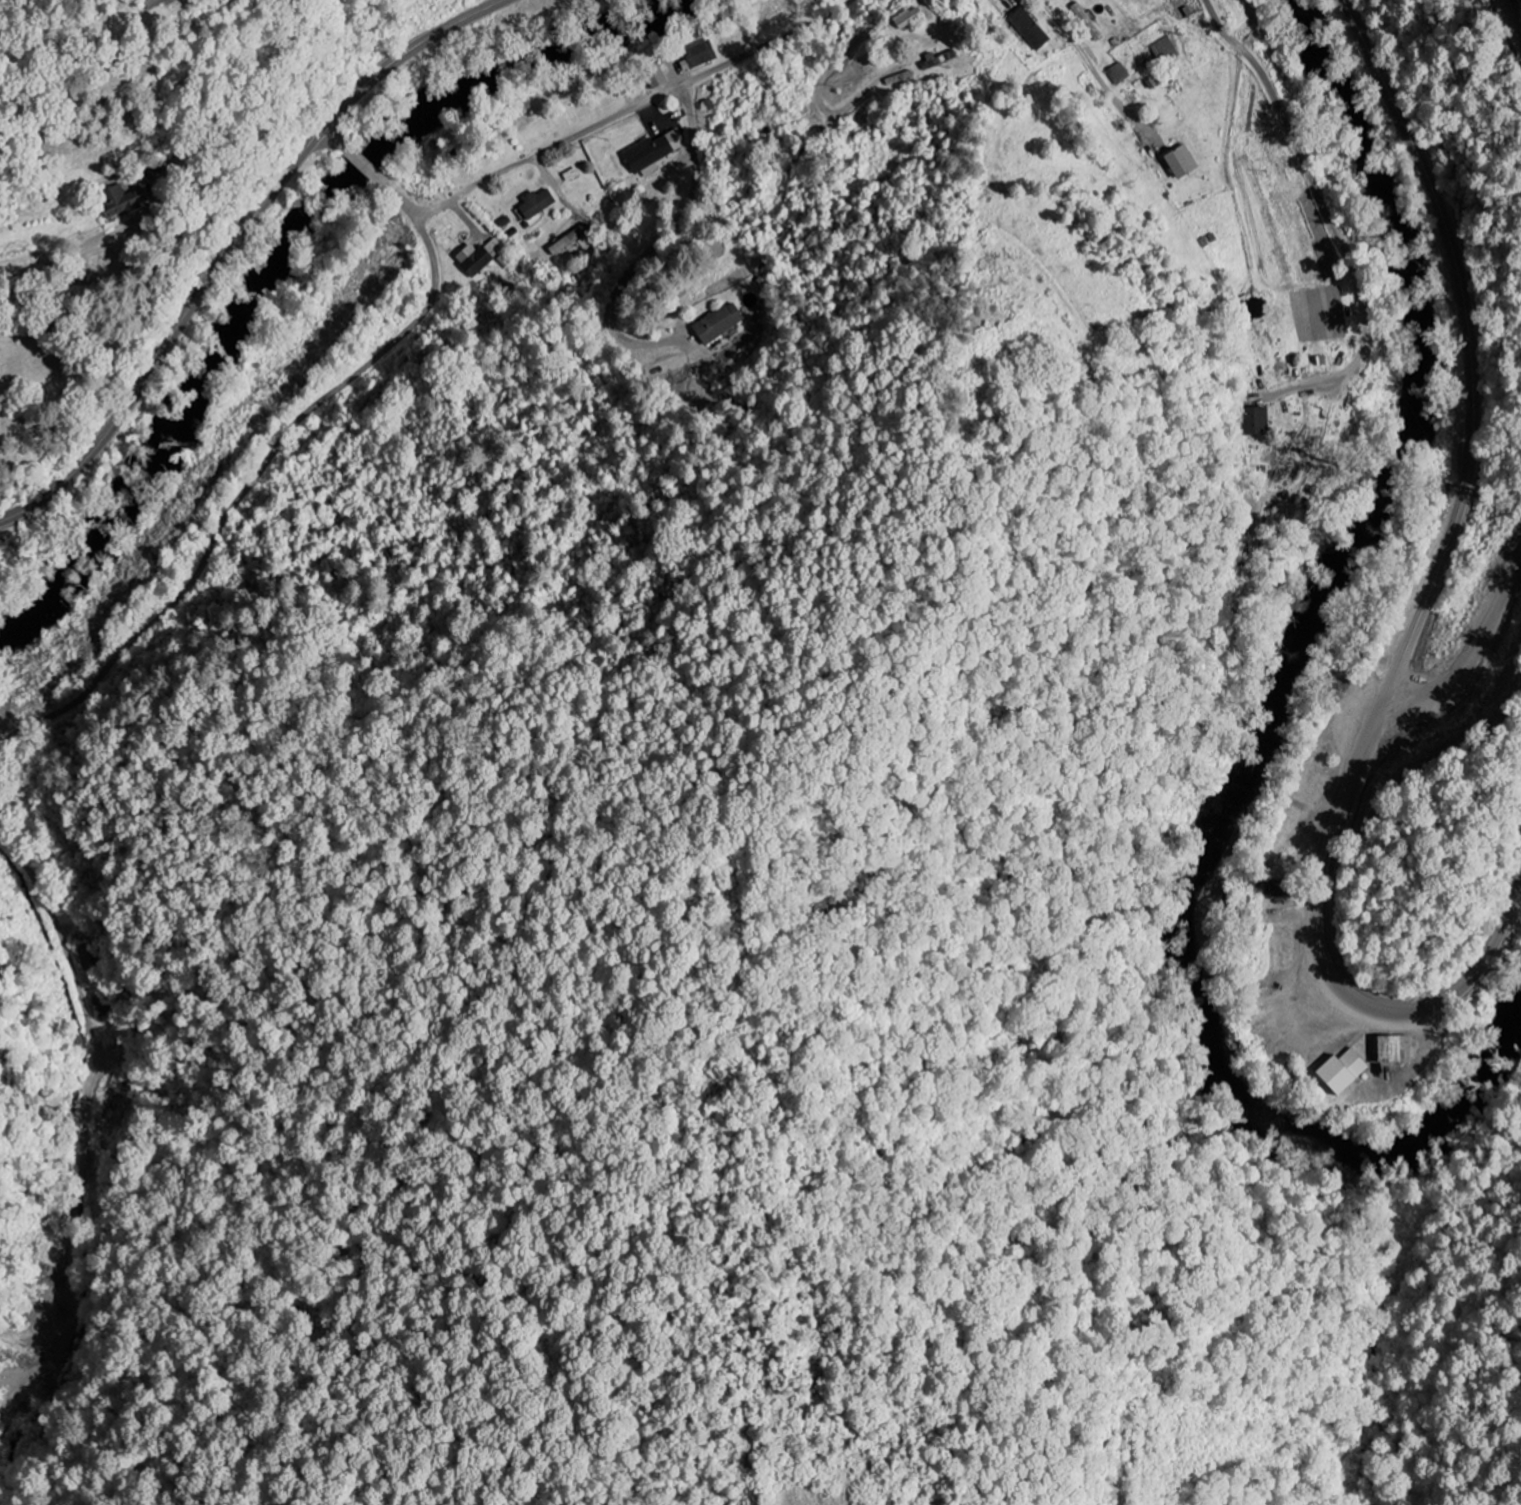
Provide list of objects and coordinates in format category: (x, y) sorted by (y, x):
building: (156, 3)
building: (909, 17)
building: (1031, 29)
building: (1168, 50)
building: (700, 56)
building: (1120, 74)
building: (657, 78)
road: (617, 116)
road: (335, 138)
building: (655, 151)
building: (1184, 162)
road: (364, 166)
road: (1311, 177)
building: (123, 201)
building: (537, 205)
building: (570, 240)
road: (234, 241)
building: (480, 257)
road: (37, 282)
building: (720, 324)
park: (33, 415)
building: (1257, 422)
road: (243, 492)
building: (1286, 517)
road: (1422, 608)
building: (1280, 890)
road: (86, 1003)
building: (105, 1007)
building: (1396, 1051)
building: (1345, 1073)

